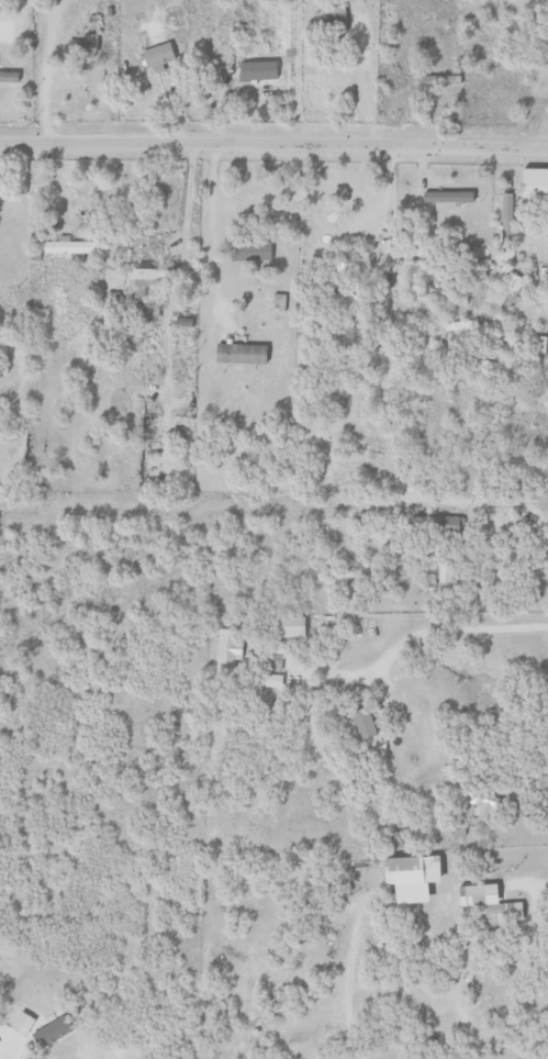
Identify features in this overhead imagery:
building: (8, 19)
building: (81, 44)
building: (157, 56)
road: (220, 70)
building: (257, 70)
road: (40, 74)
building: (9, 76)
road: (359, 78)
building: (439, 79)
road: (273, 143)
building: (533, 182)
building: (445, 197)
building: (505, 215)
road: (206, 234)
building: (66, 247)
building: (258, 250)
building: (143, 277)
building: (389, 277)
building: (506, 292)
building: (277, 302)
building: (143, 312)
building: (180, 321)
building: (457, 325)
building: (540, 344)
building: (239, 354)
building: (443, 522)
building: (445, 577)
building: (291, 626)
road: (410, 636)
building: (230, 648)
building: (275, 660)
building: (273, 680)
building: (362, 723)
building: (480, 805)
building: (409, 877)
building: (487, 904)
road: (508, 968)
road: (340, 984)
building: (22, 1024)

